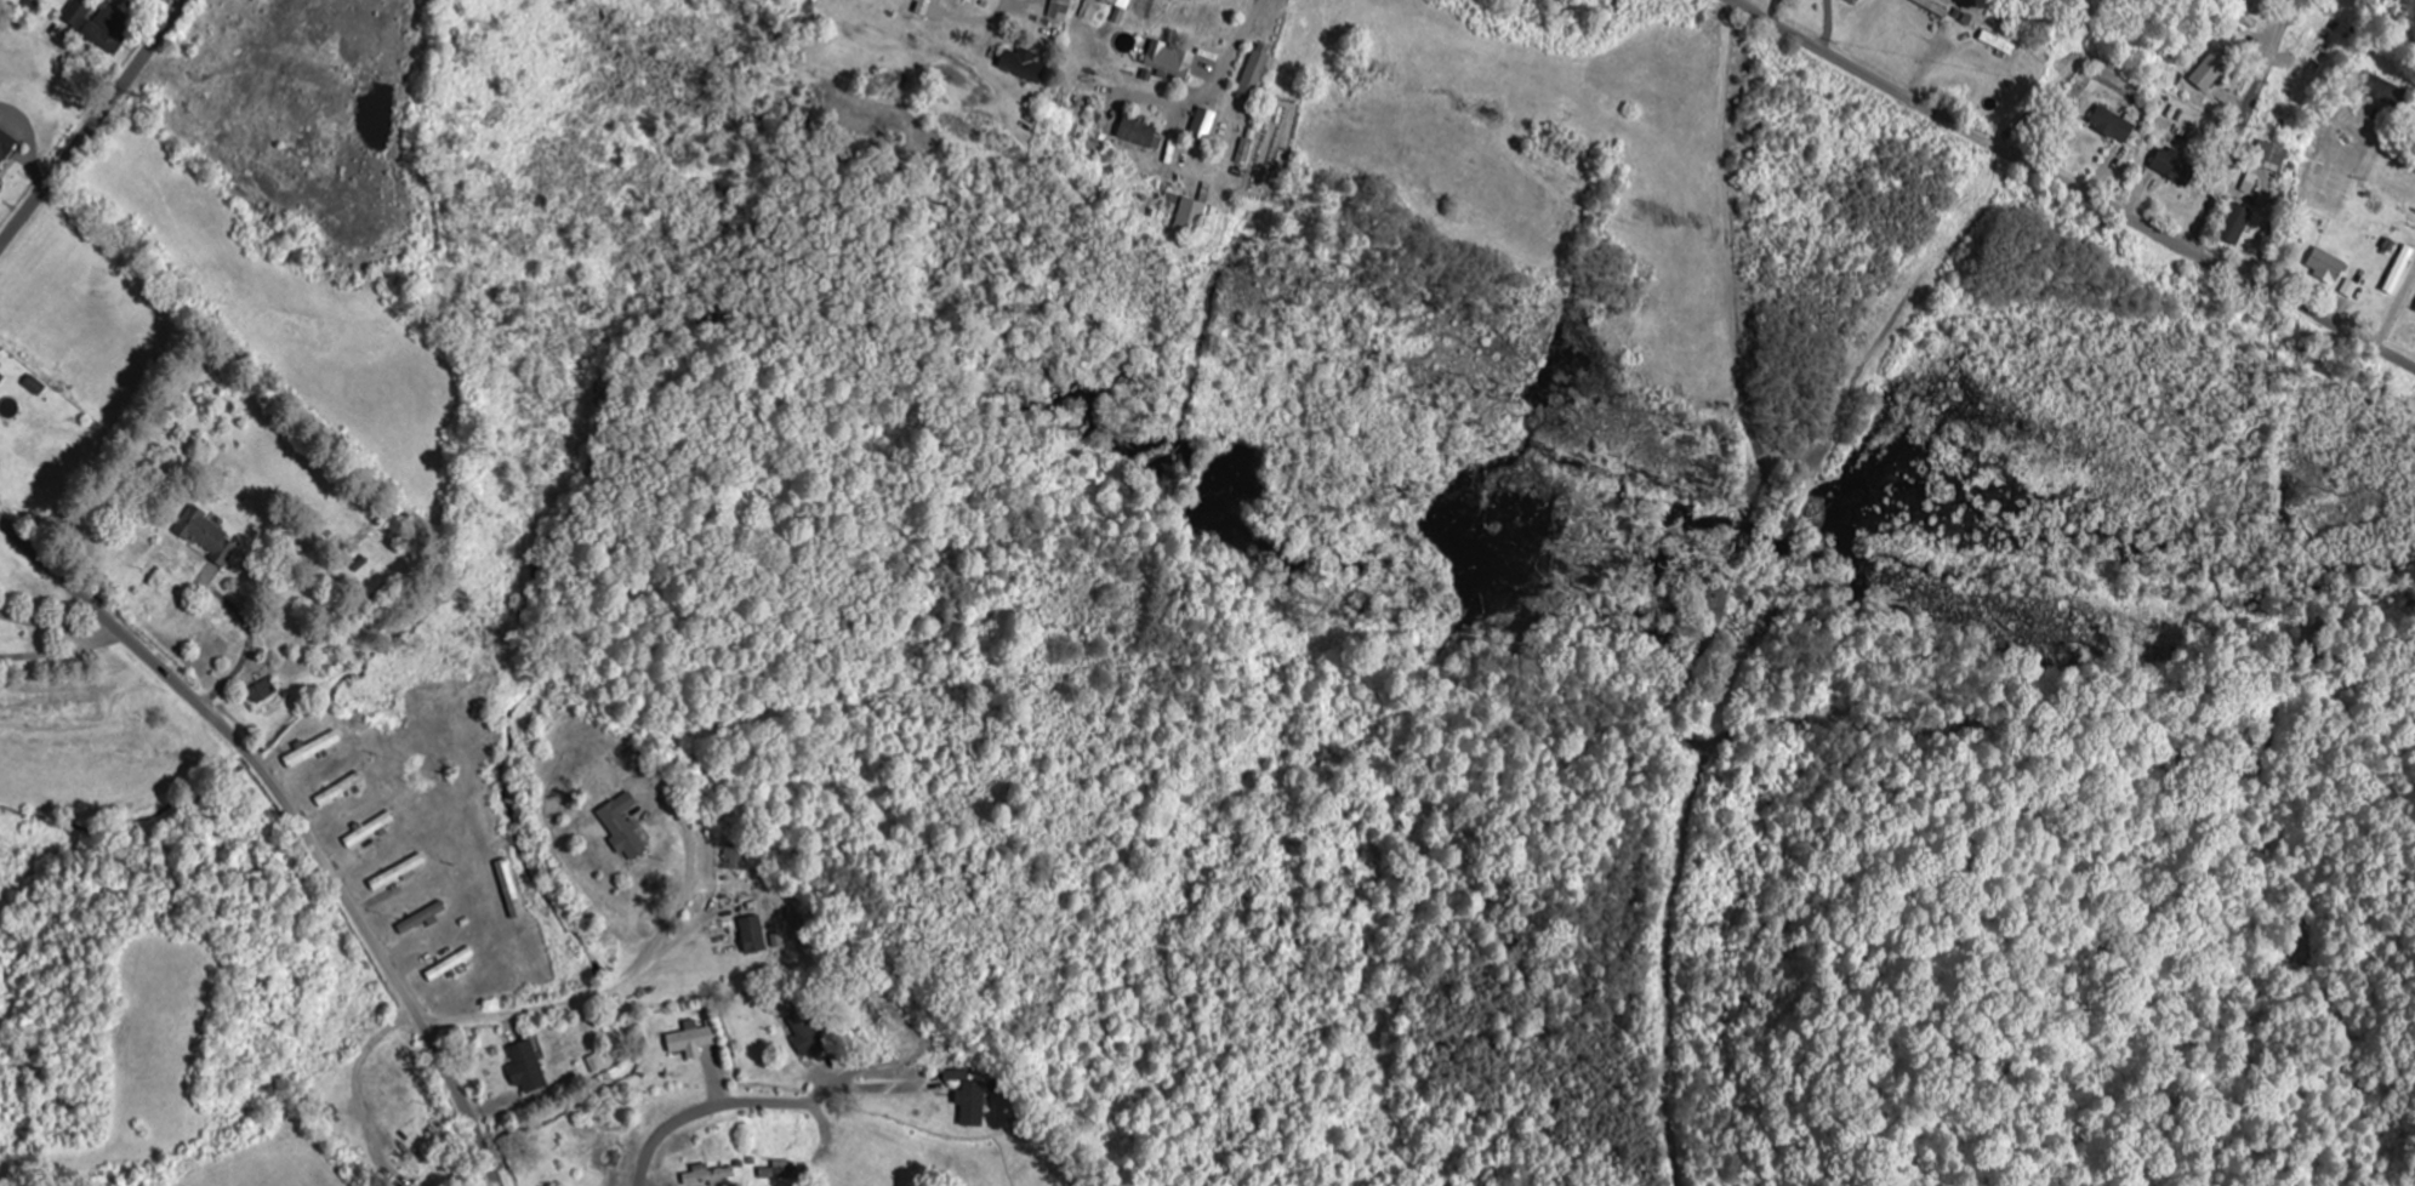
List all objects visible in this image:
building: (1126, 7)
building: (932, 10)
building: (1060, 10)
building: (92, 28)
building: (1171, 62)
building: (1027, 67)
building: (2212, 72)
building: (1253, 76)
building: (1203, 124)
road: (95, 126)
building: (2114, 126)
building: (1138, 133)
building: (5, 147)
building: (2272, 158)
building: (2176, 167)
building: (0, 187)
road: (2071, 187)
building: (1191, 217)
building: (2237, 226)
building: (2326, 267)
building: (2400, 270)
building: (1, 380)
building: (210, 540)
building: (263, 692)
building: (313, 749)
building: (340, 791)
road: (296, 816)
building: (623, 828)
building: (736, 857)
building: (398, 874)
building: (753, 935)
building: (450, 965)
building: (807, 1037)
building: (693, 1040)
building: (526, 1068)
building: (970, 1100)
building: (778, 1171)
building: (707, 1175)

